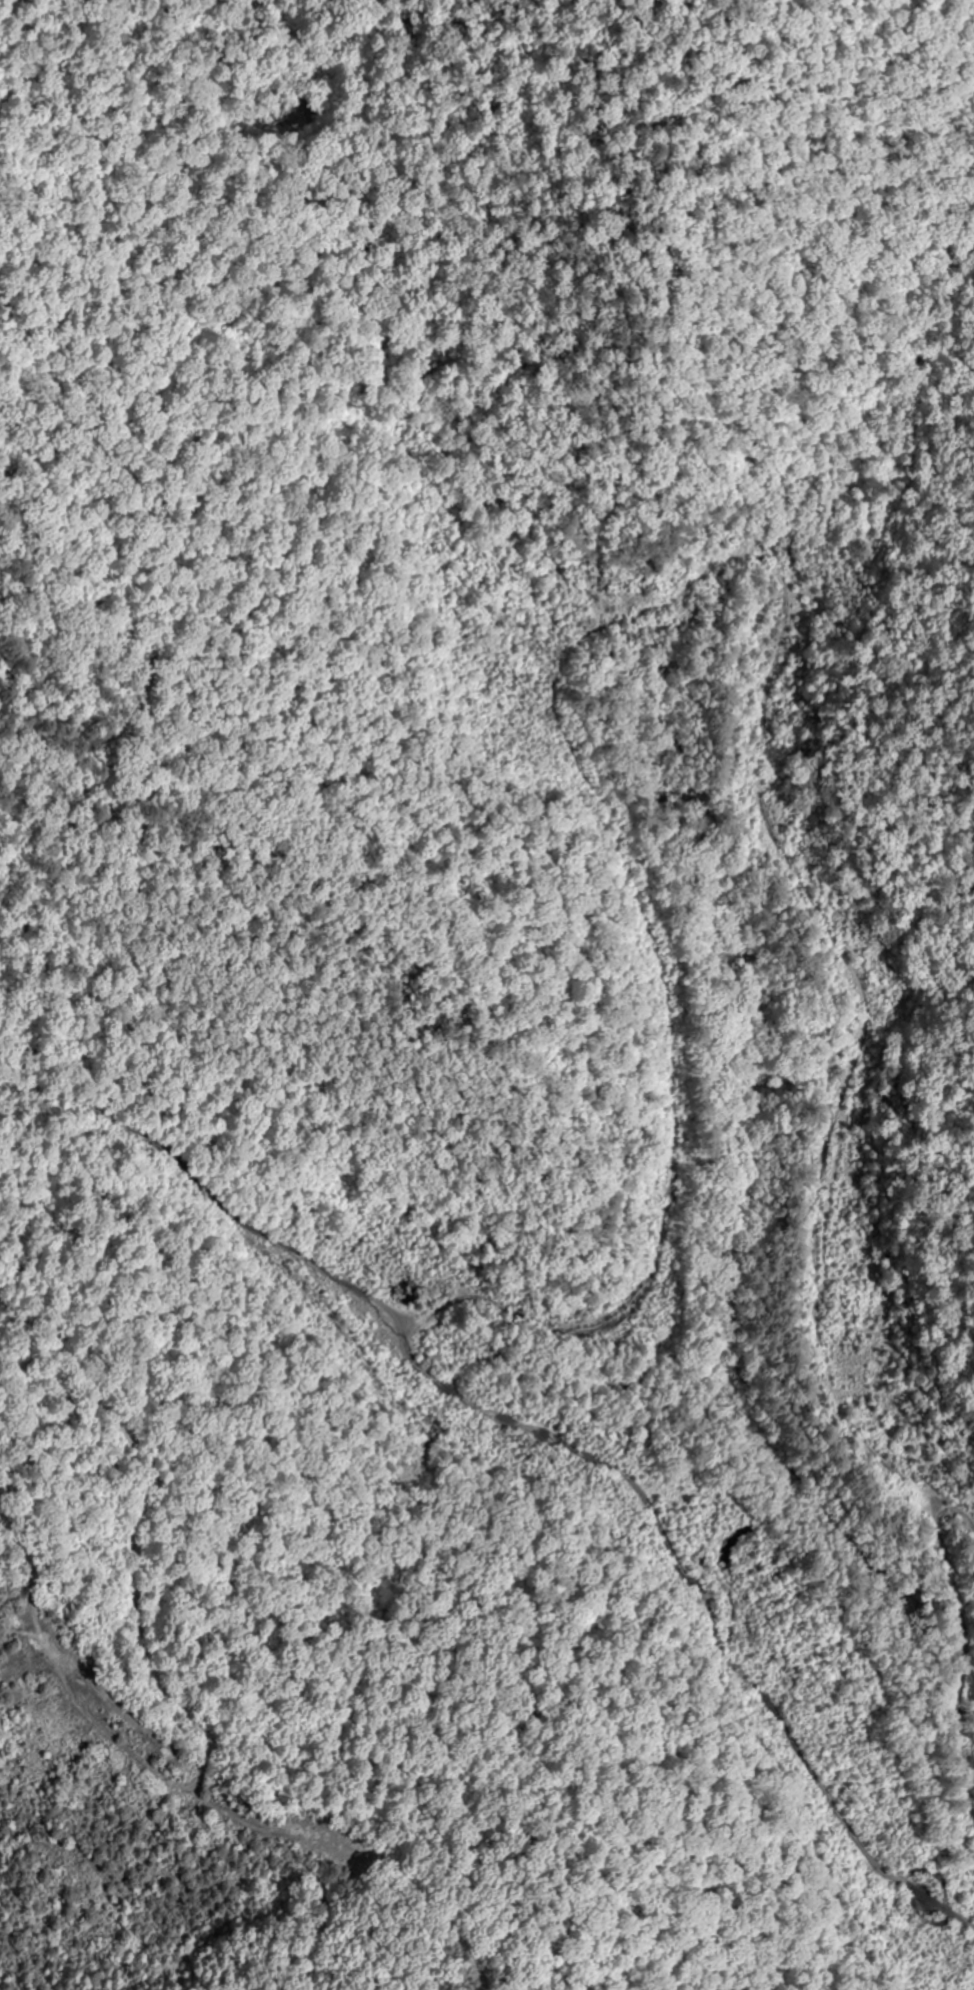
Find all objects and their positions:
road: (800, 1607)

